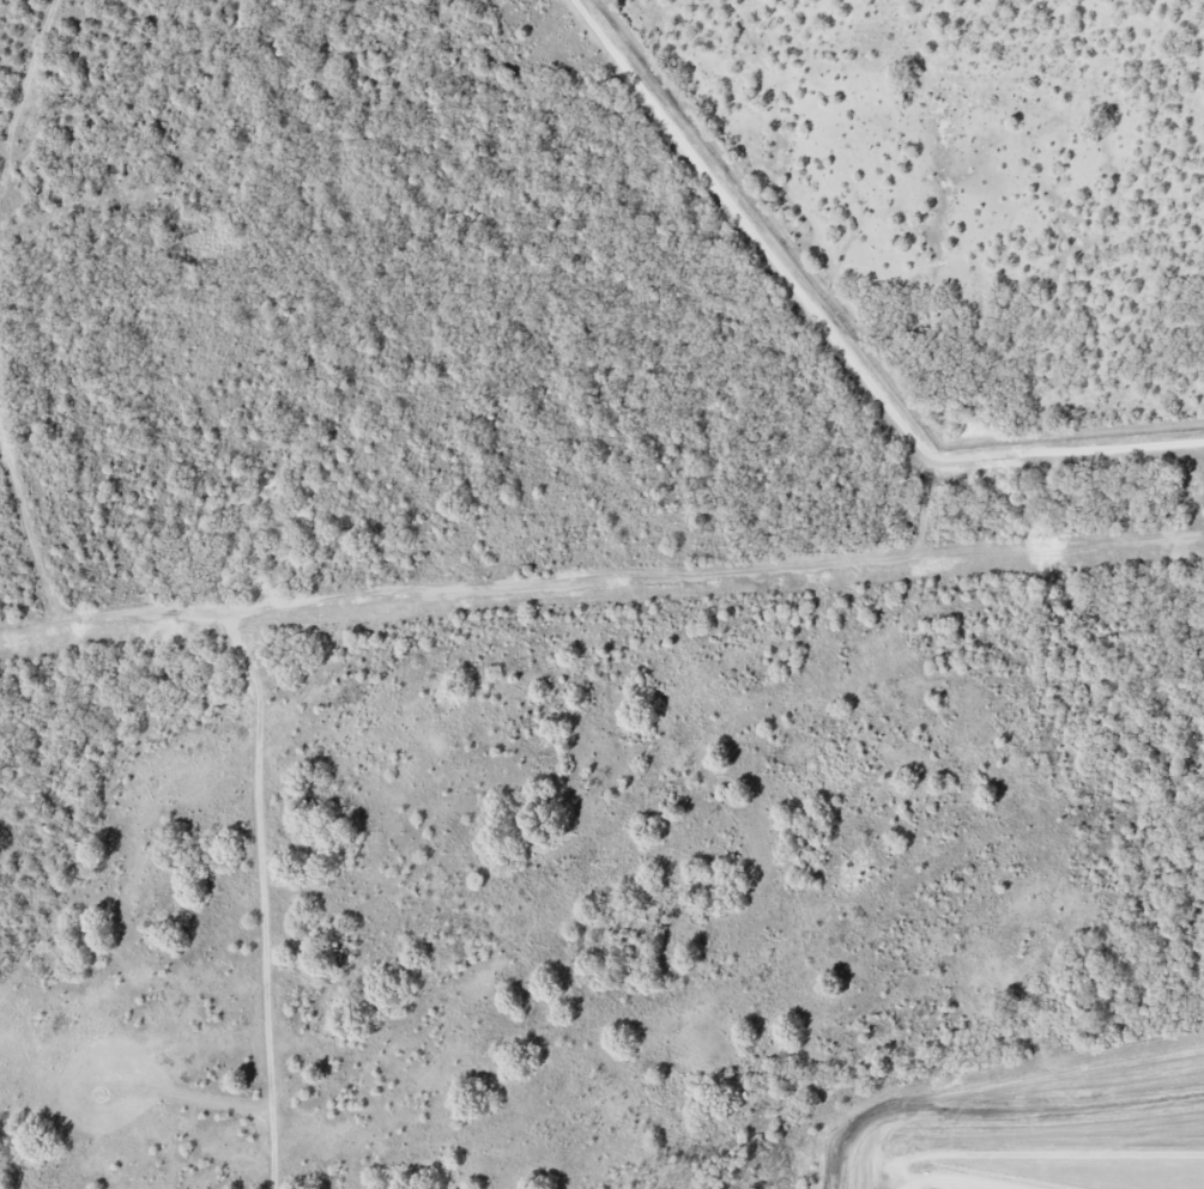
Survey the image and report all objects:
road: (24, 85)
road: (834, 336)
road: (926, 506)
road: (28, 526)
road: (601, 577)
road: (319, 673)
road: (260, 893)
road: (1012, 1117)

